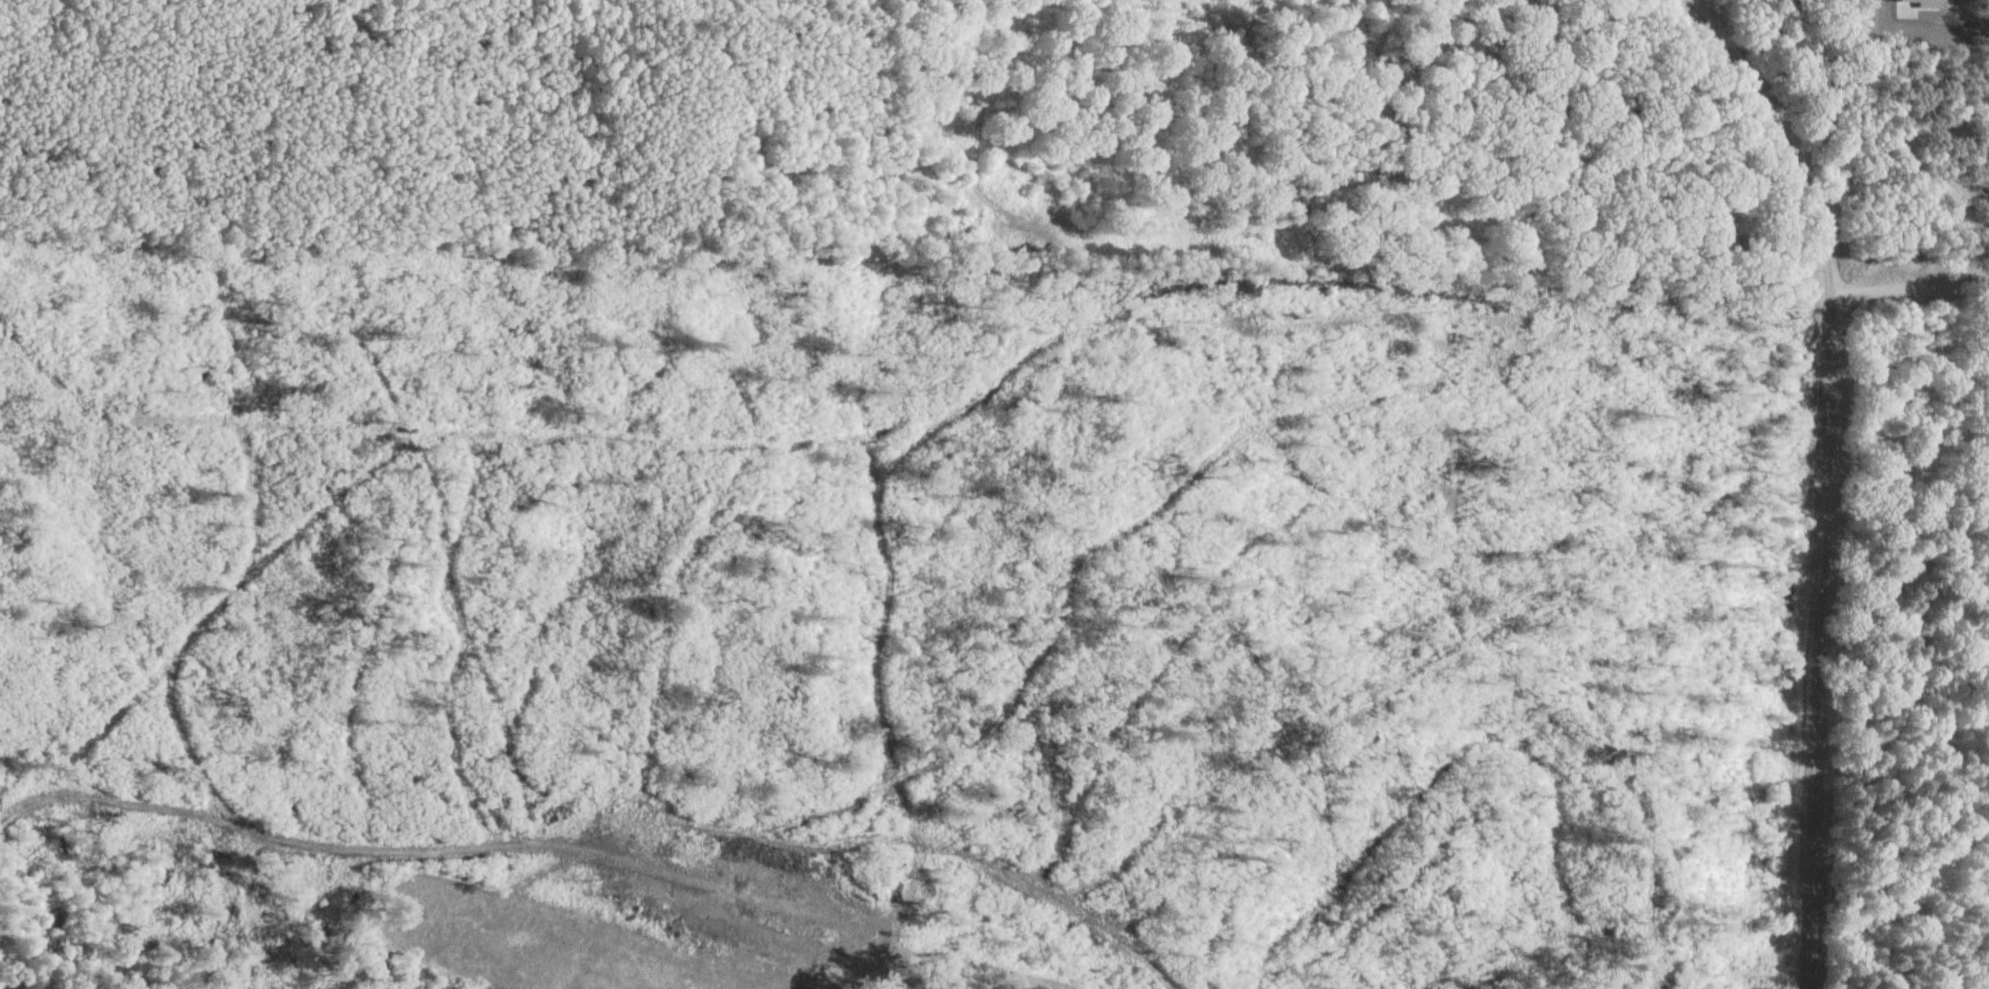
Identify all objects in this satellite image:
road: (1908, 288)
road: (1822, 475)
quarry: (1709, 968)

